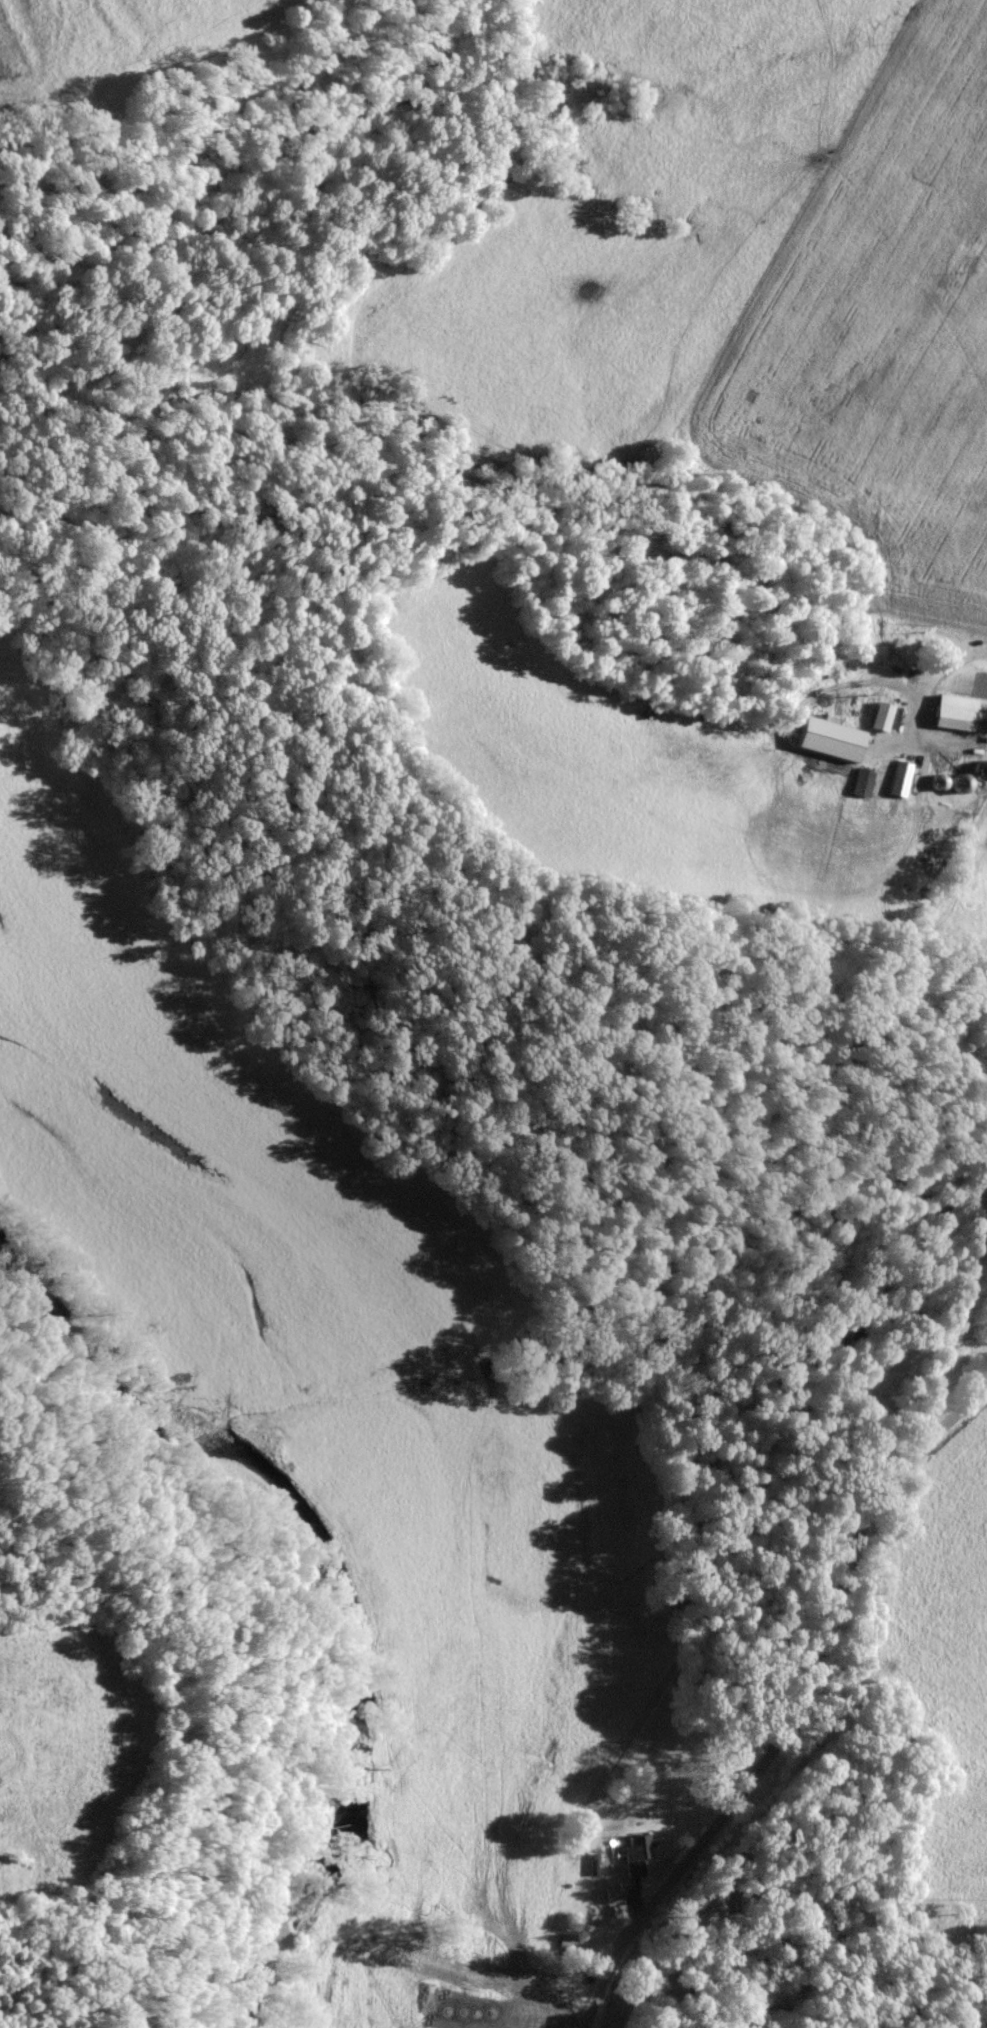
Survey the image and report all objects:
building: (882, 716)
building: (954, 718)
building: (843, 737)
building: (901, 778)
building: (864, 782)
road: (811, 1711)
building: (638, 1854)

